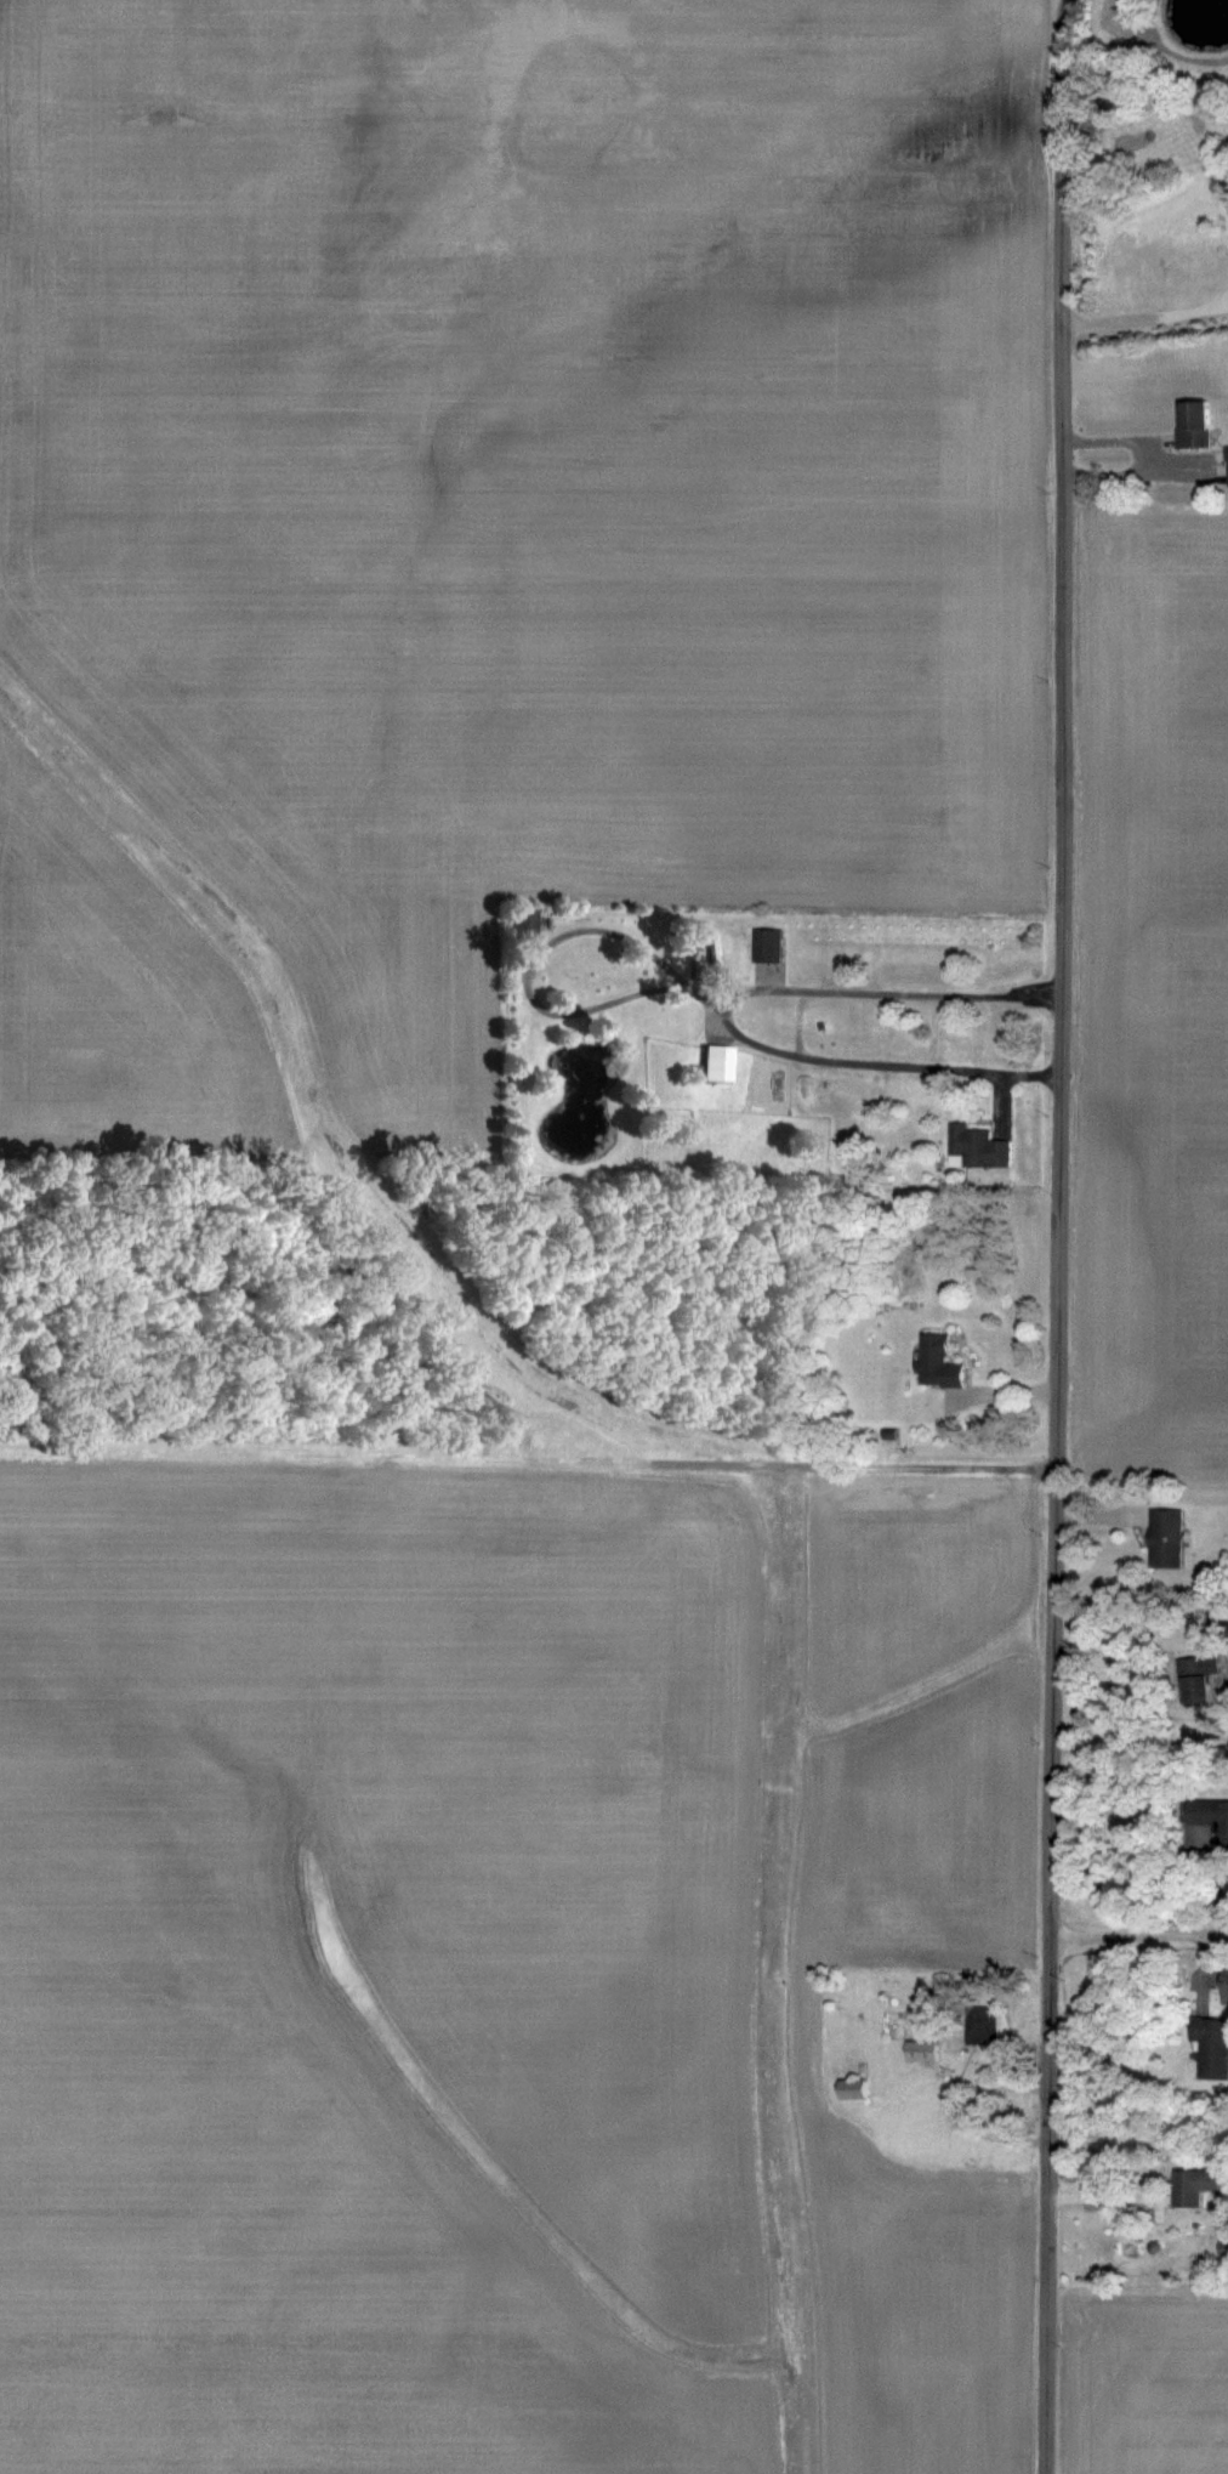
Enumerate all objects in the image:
road: (1057, 59)
building: (1193, 426)
building: (522, 929)
building: (769, 946)
road: (538, 959)
crop: (1136, 981)
building: (716, 1062)
building: (978, 1147)
crop: (498, 1252)
road: (1059, 1298)
building: (940, 1362)
building: (1166, 1538)
building: (1198, 1678)
building: (1212, 1816)
road: (1141, 1936)
building: (1227, 1987)
building: (984, 2026)
building: (1212, 2047)
building: (923, 2050)
building: (854, 2089)
building: (922, 2126)
building: (1199, 2186)
crop: (1144, 2387)

